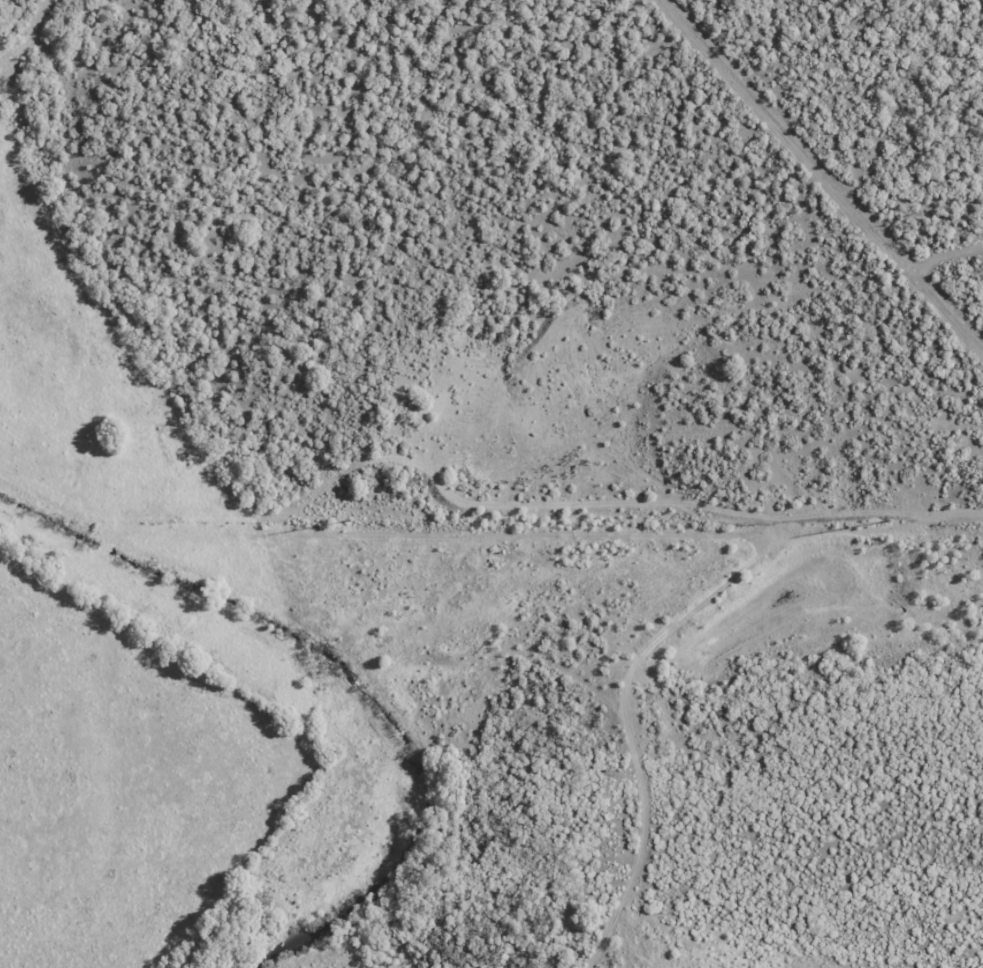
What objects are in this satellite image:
power tower: (348, 521)
power tower: (887, 521)

